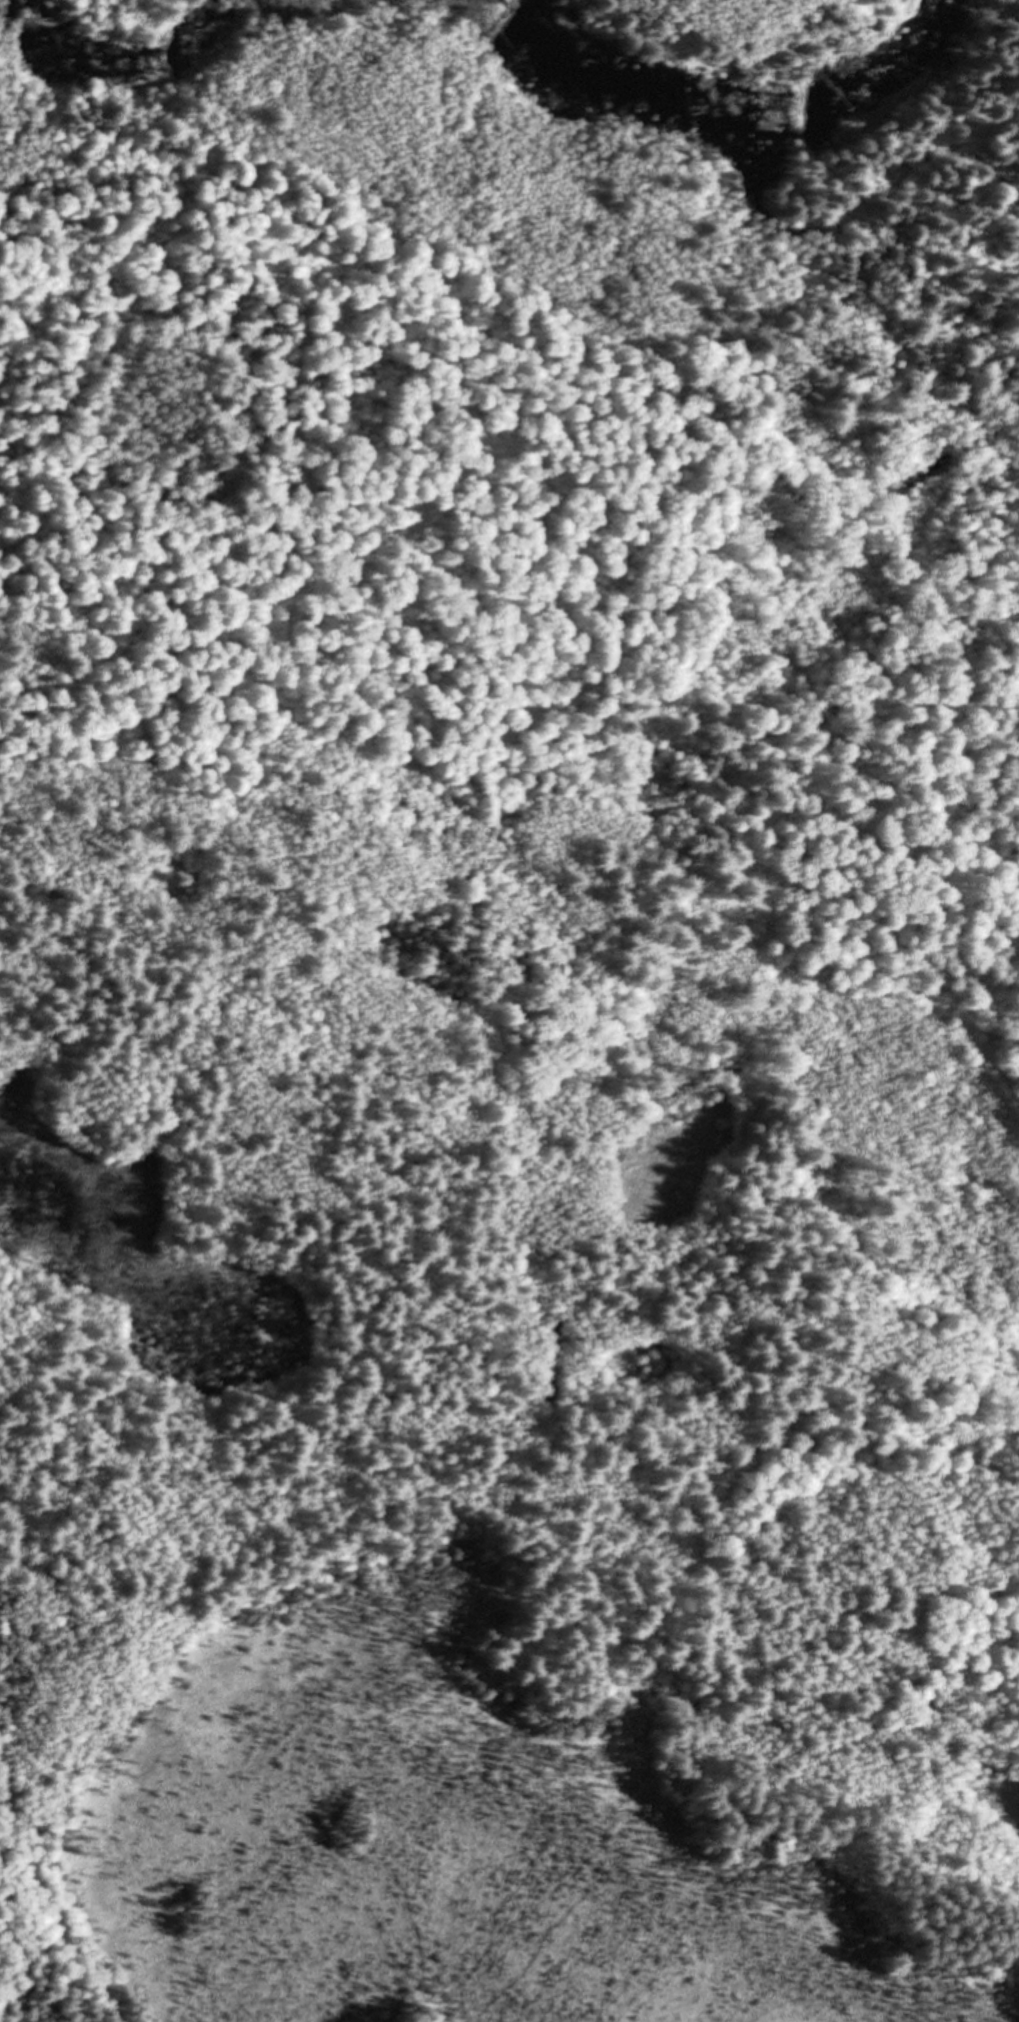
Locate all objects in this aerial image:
road: (37, 1965)

